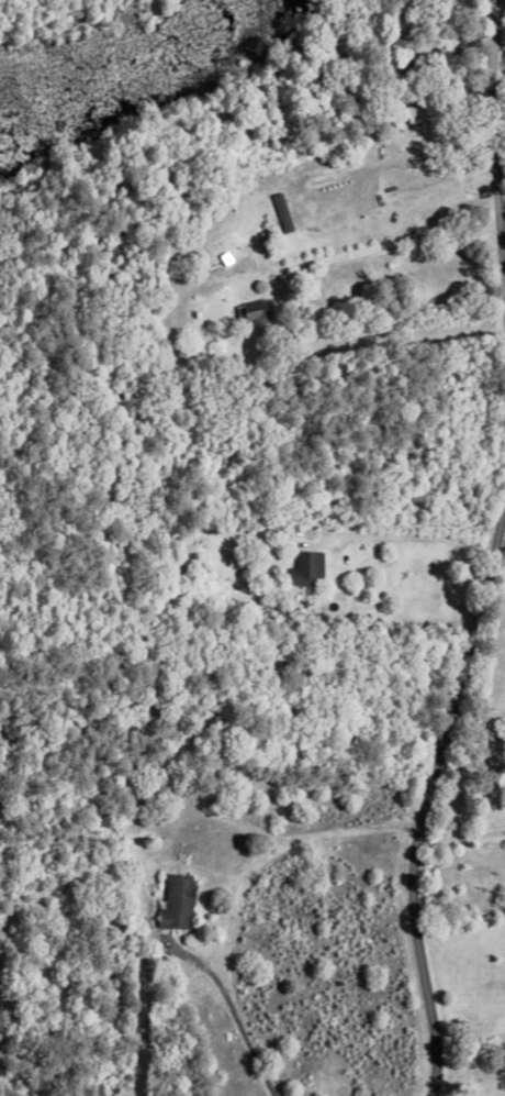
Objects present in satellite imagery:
building: (417, 53)
road: (498, 67)
building: (409, 114)
road: (494, 151)
building: (279, 212)
road: (394, 244)
road: (504, 292)
building: (248, 310)
road: (425, 534)
building: (246, 557)
building: (302, 565)
road: (426, 799)
road: (234, 895)
building: (173, 900)
building: (133, 916)
building: (133, 920)

